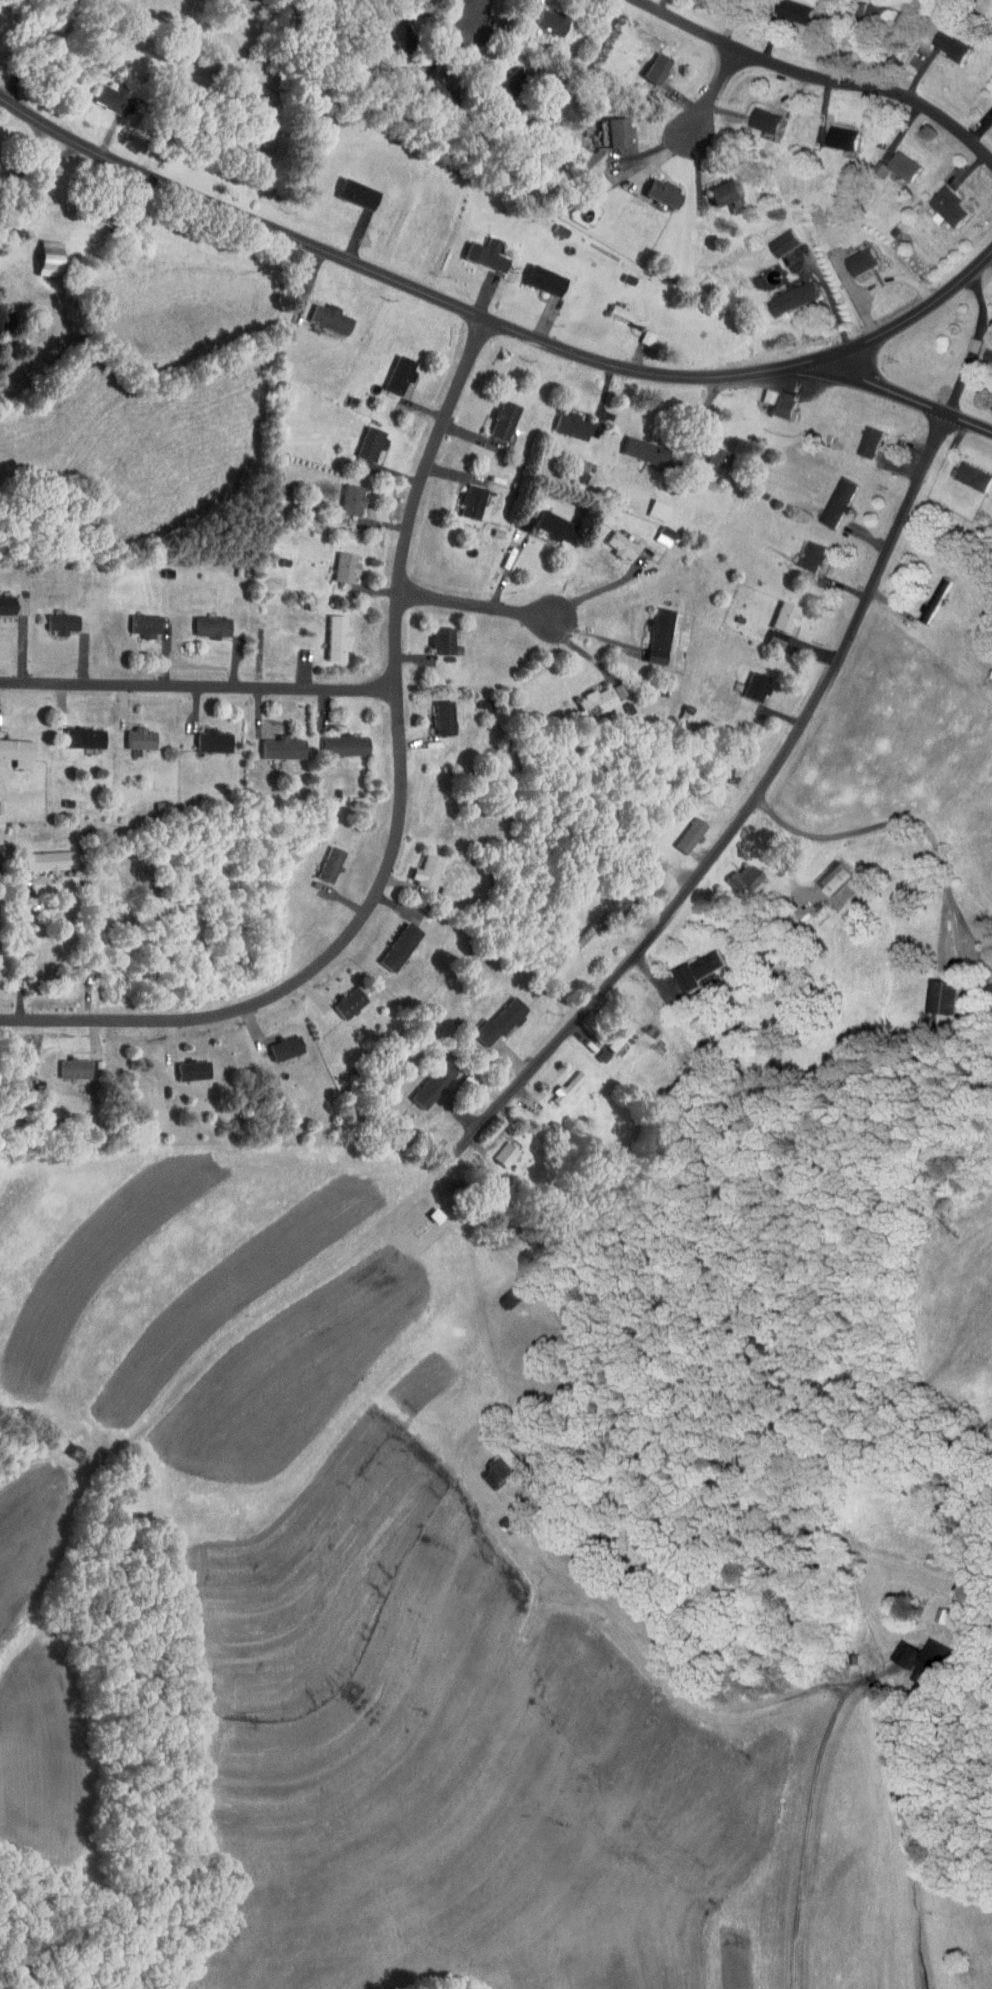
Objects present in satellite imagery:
building: (787, 7)
building: (862, 7)
building: (543, 17)
road: (475, 21)
building: (393, 34)
building: (943, 40)
road: (33, 49)
building: (649, 63)
road: (820, 78)
building: (429, 87)
building: (101, 92)
building: (991, 97)
road: (712, 99)
building: (758, 115)
building: (609, 126)
building: (836, 132)
building: (898, 161)
road: (37, 181)
building: (717, 186)
building: (656, 188)
building: (349, 189)
building: (727, 201)
building: (938, 203)
building: (775, 237)
building: (479, 250)
building: (41, 253)
building: (855, 255)
road: (988, 258)
building: (537, 275)
building: (784, 294)
building: (322, 314)
road: (493, 321)
road: (958, 344)
building: (983, 352)
building: (391, 370)
building: (760, 391)
building: (776, 398)
road: (908, 399)
building: (496, 415)
building: (564, 420)
road: (702, 422)
building: (860, 437)
building: (362, 438)
building: (638, 446)
building: (711, 452)
building: (965, 471)
building: (343, 495)
building: (464, 496)
building: (830, 496)
building: (650, 504)
building: (546, 521)
building: (614, 541)
building: (803, 551)
building: (337, 561)
road: (510, 565)
road: (599, 591)
building: (924, 594)
building: (3, 600)
road: (473, 605)
building: (53, 618)
building: (774, 619)
building: (136, 620)
building: (204, 621)
building: (652, 631)
building: (328, 632)
building: (434, 635)
road: (597, 637)
road: (923, 643)
building: (748, 682)
road: (198, 683)
building: (589, 696)
building: (434, 713)
building: (76, 733)
building: (132, 734)
building: (204, 736)
building: (336, 740)
building: (274, 743)
building: (12, 747)
road: (398, 811)
road: (743, 819)
road: (903, 820)
building: (683, 830)
building: (39, 856)
building: (321, 859)
building: (419, 866)
building: (738, 873)
building: (827, 873)
building: (392, 942)
road: (22, 949)
building: (688, 966)
building: (931, 991)
building: (341, 997)
building: (492, 1017)
building: (613, 1030)
building: (277, 1042)
building: (67, 1064)
building: (185, 1065)
building: (424, 1080)
building: (559, 1082)
building: (497, 1148)
building: (507, 1290)
building: (492, 1463)
road: (540, 1569)
building: (930, 1609)
building: (895, 1647)
building: (918, 1657)
road: (876, 1795)

